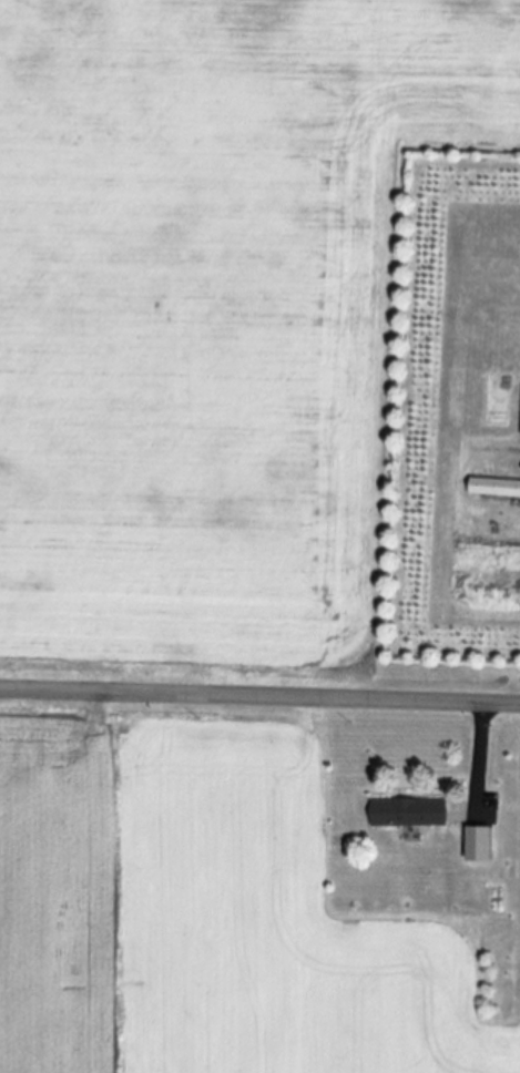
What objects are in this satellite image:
building: (493, 488)
road: (259, 695)
road: (478, 752)
building: (407, 814)
building: (477, 846)

